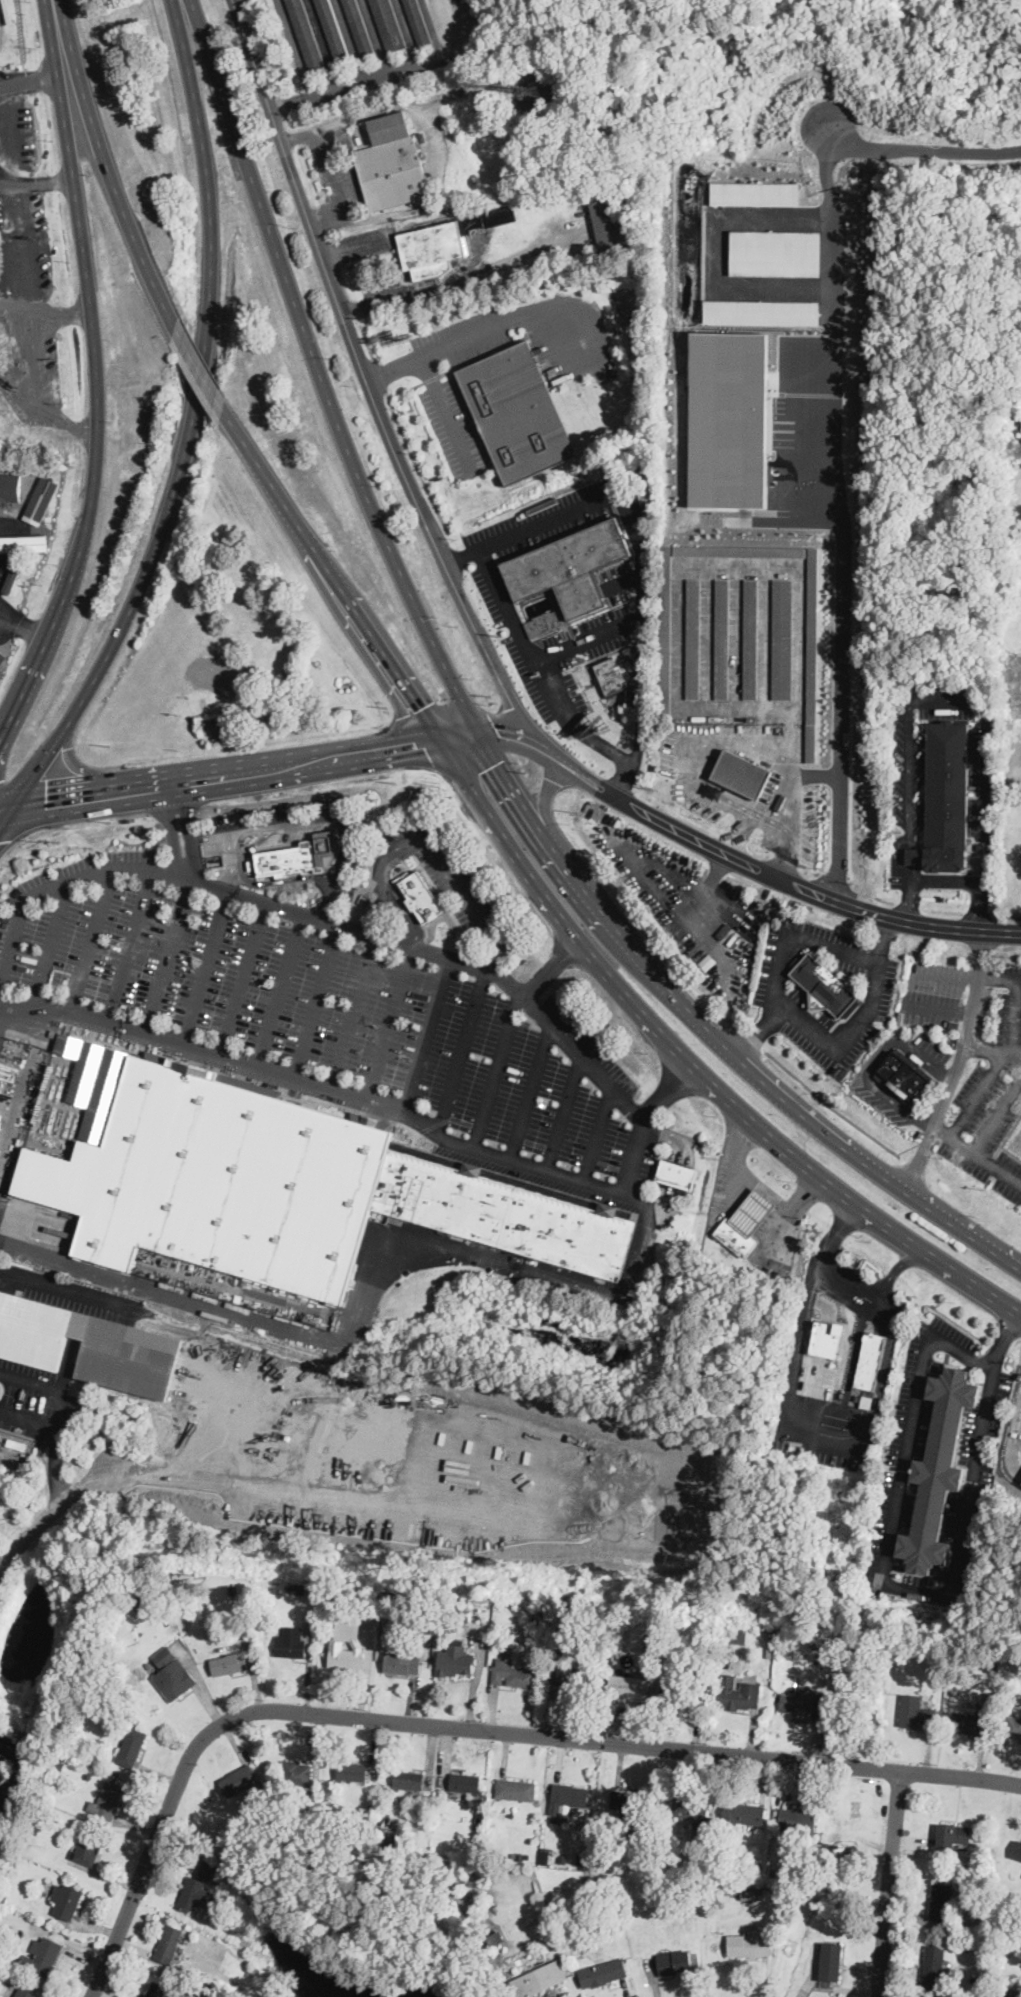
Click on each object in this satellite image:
building: (418, 21)
building: (388, 25)
building: (359, 28)
building: (333, 31)
building: (306, 36)
road: (264, 47)
road: (385, 72)
road: (28, 78)
building: (532, 85)
building: (522, 94)
road: (282, 104)
road: (287, 116)
building: (421, 136)
road: (438, 143)
road: (921, 149)
building: (393, 165)
road: (108, 167)
road: (330, 174)
road: (36, 182)
building: (757, 192)
building: (500, 216)
building: (614, 223)
building: (437, 247)
building: (777, 252)
road: (461, 276)
building: (763, 310)
road: (60, 314)
road: (31, 325)
parking lot: (469, 334)
road: (366, 341)
road: (463, 341)
road: (201, 368)
road: (394, 369)
road: (379, 372)
road: (322, 375)
road: (95, 377)
road: (365, 378)
building: (516, 411)
road: (445, 416)
building: (729, 418)
road: (191, 425)
parking lot: (454, 430)
road: (414, 460)
building: (10, 487)
building: (39, 515)
road: (839, 517)
parking lot: (539, 523)
building: (22, 545)
building: (740, 552)
road: (462, 554)
road: (744, 567)
building: (571, 568)
road: (333, 574)
road: (625, 580)
parking lot: (618, 581)
road: (643, 596)
building: (546, 624)
road: (23, 625)
building: (666, 630)
parking lot: (516, 638)
parking lot: (586, 638)
building: (693, 639)
building: (722, 639)
building: (751, 639)
building: (783, 640)
building: (629, 651)
building: (812, 654)
building: (610, 677)
road: (642, 686)
road: (557, 688)
parking lot: (570, 695)
traffic signals: (421, 708)
building: (207, 720)
road: (908, 725)
road: (495, 730)
traffic signals: (502, 737)
road: (505, 737)
road: (463, 738)
traffic signals: (422, 742)
road: (614, 751)
road: (472, 762)
traffic signals: (497, 762)
road: (225, 774)
building: (742, 775)
parking lot: (911, 775)
road: (703, 784)
building: (714, 789)
road: (984, 791)
road: (781, 796)
building: (946, 800)
traffic signals: (47, 804)
parking lot: (282, 808)
road: (4, 810)
road: (159, 811)
road: (4, 814)
road: (133, 815)
road: (548, 818)
road: (269, 826)
road: (190, 828)
road: (173, 830)
road: (242, 834)
road: (13, 835)
building: (980, 845)
building: (254, 847)
parking lot: (355, 852)
building: (297, 854)
road: (899, 854)
road: (230, 858)
building: (250, 864)
road: (340, 866)
road: (761, 872)
road: (64, 875)
road: (381, 879)
road: (257, 881)
road: (925, 881)
road: (394, 887)
building: (420, 895)
road: (470, 907)
road: (979, 907)
building: (725, 932)
road: (53, 938)
road: (801, 938)
road: (94, 939)
road: (133, 944)
road: (167, 954)
building: (707, 960)
road: (207, 965)
road: (550, 966)
road: (243, 976)
road: (281, 988)
building: (825, 988)
parking lot: (937, 988)
road: (319, 999)
parking lot: (305, 1005)
road: (354, 1010)
road: (1015, 1010)
road: (3, 1013)
road: (390, 1021)
building: (954, 1024)
road: (426, 1031)
road: (717, 1038)
road: (839, 1042)
parking lot: (591, 1044)
road: (988, 1046)
road: (1017, 1046)
road: (460, 1051)
road: (873, 1060)
road: (957, 1065)
road: (691, 1067)
road: (495, 1070)
building: (903, 1075)
building: (96, 1083)
road: (663, 1090)
road: (527, 1091)
road: (981, 1091)
parking lot: (990, 1098)
road: (562, 1112)
road: (997, 1118)
road: (595, 1134)
road: (976, 1153)
building: (677, 1175)
road: (599, 1186)
road: (759, 1186)
building: (289, 1187)
building: (746, 1223)
gas station: (746, 1223)
building: (735, 1258)
road: (895, 1268)
road: (826, 1269)
road: (69, 1286)
building: (827, 1337)
road: (1002, 1340)
building: (89, 1345)
building: (870, 1360)
building: (867, 1401)
road: (72, 1404)
building: (17, 1444)
building: (2, 1455)
road: (55, 1465)
building: (938, 1470)
road: (51, 1513)
building: (288, 1587)
building: (301, 1589)
building: (232, 1591)
building: (146, 1593)
road: (939, 1593)
building: (343, 1598)
building: (431, 1606)
building: (501, 1606)
building: (559, 1608)
building: (463, 1615)
building: (719, 1615)
building: (541, 1619)
building: (580, 1622)
building: (565, 1627)
building: (724, 1628)
building: (290, 1643)
building: (337, 1643)
building: (166, 1656)
building: (455, 1660)
building: (402, 1663)
building: (722, 1663)
building: (229, 1665)
building: (514, 1674)
building: (570, 1679)
building: (175, 1680)
building: (629, 1686)
building: (684, 1691)
building: (740, 1697)
building: (92, 1699)
building: (803, 1703)
building: (915, 1713)
building: (972, 1724)
building: (1013, 1726)
road: (466, 1727)
building: (131, 1745)
road: (17, 1769)
building: (352, 1770)
building: (296, 1772)
building: (2, 1778)
building: (239, 1779)
building: (408, 1779)
building: (463, 1781)
building: (515, 1789)
building: (566, 1798)
building: (107, 1799)
building: (628, 1804)
building: (744, 1812)
building: (694, 1813)
building: (796, 1819)
building: (953, 1835)
building: (390, 1836)
building: (1016, 1849)
building: (87, 1850)
building: (209, 1868)
road: (889, 1883)
building: (194, 1893)
building: (68, 1900)
building: (940, 1900)
building: (749, 1942)
building: (168, 1943)
building: (41, 1956)
building: (674, 1960)
building: (830, 1960)
building: (933, 1964)
building: (603, 1972)
building: (537, 1979)
building: (156, 1989)
building: (26, 1992)
building: (1011, 1992)

